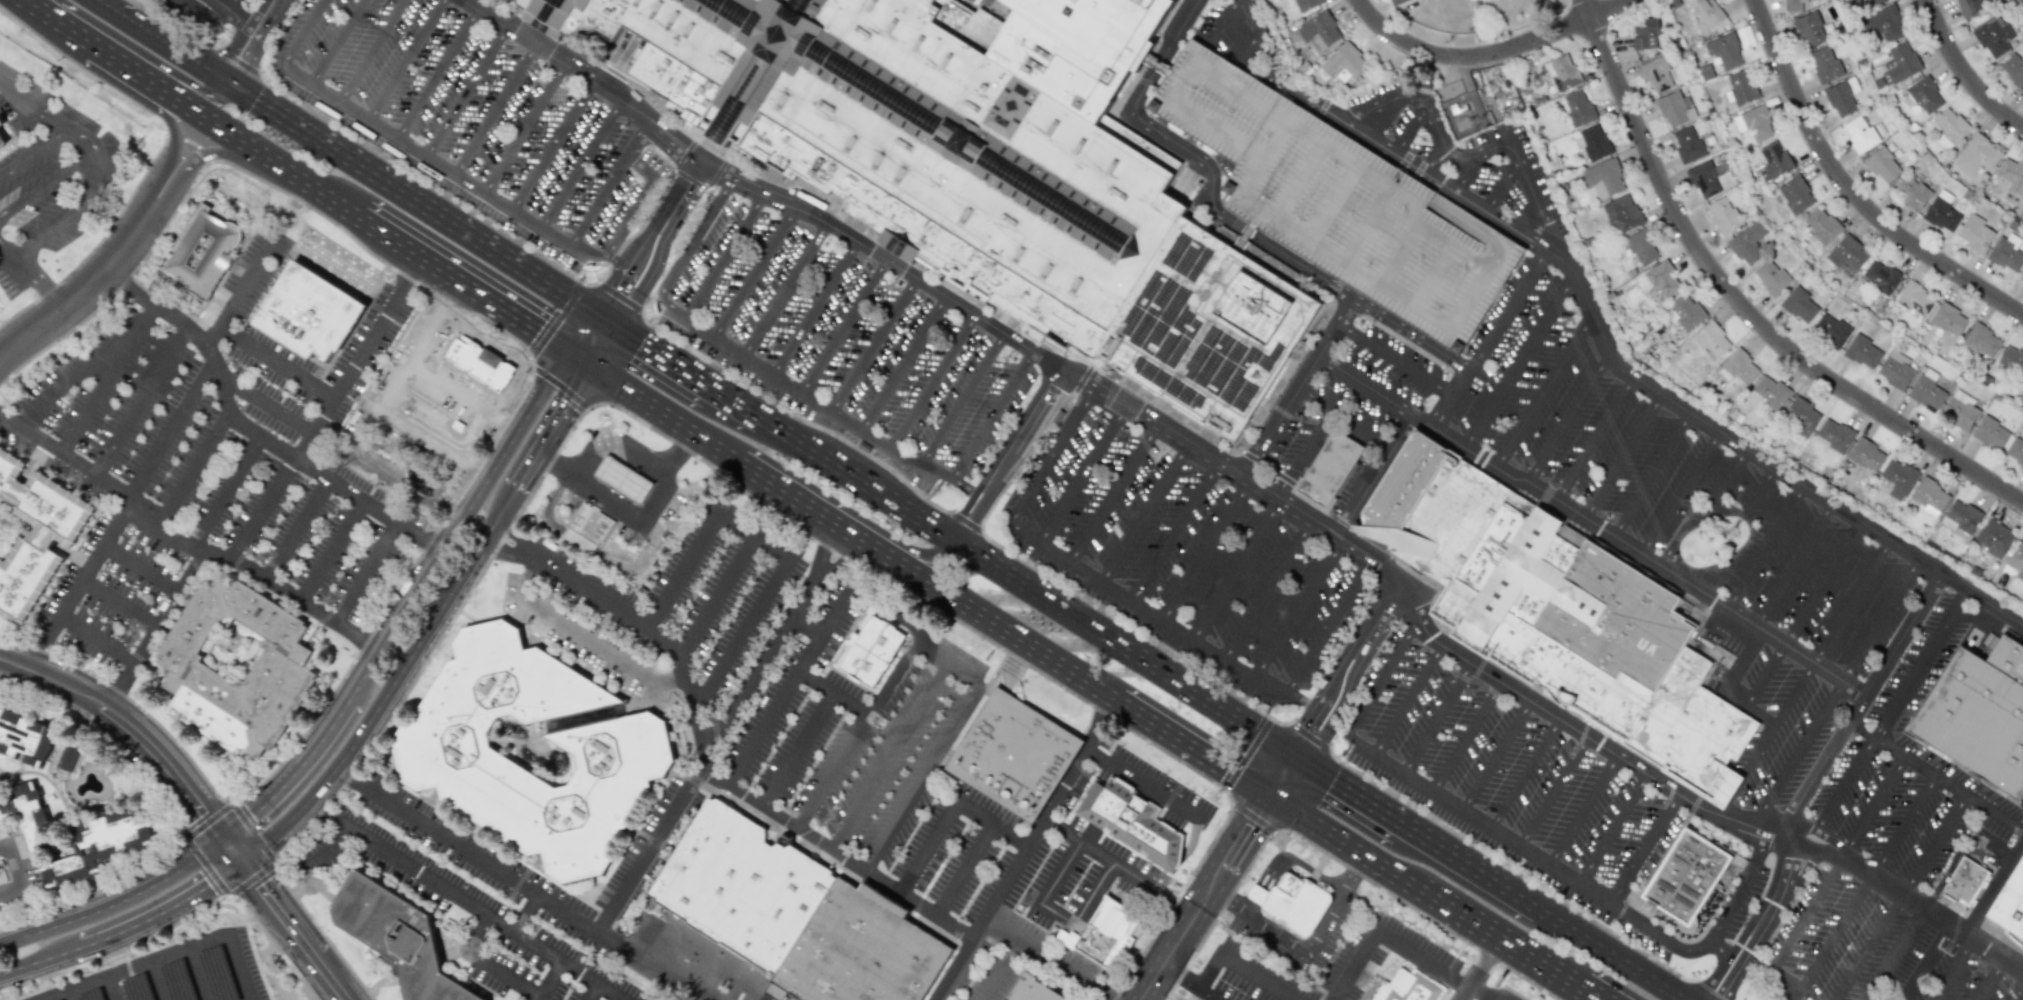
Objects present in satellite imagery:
building: (2016, 1)
building: (1394, 2)
parking lot: (251, 3)
building: (1867, 3)
road: (102, 4)
road: (233, 4)
building: (1306, 4)
building: (1795, 5)
road: (36, 6)
road: (39, 6)
building: (1524, 6)
building: (1969, 8)
road: (211, 14)
building: (1706, 14)
road: (240, 15)
road: (271, 15)
road: (1220, 23)
building: (1882, 24)
road: (69, 28)
building: (1810, 29)
building: (1319, 31)
road: (303, 33)
building: (1644, 33)
building: (1992, 36)
road: (338, 43)
road: (170, 45)
road: (1246, 47)
road: (371, 51)
building: (1724, 51)
building: (1699, 53)
road: (1491, 54)
road: (147, 56)
road: (247, 56)
road: (116, 59)
road: (406, 60)
building: (1344, 63)
building: (1899, 63)
building: (1825, 64)
building: (2013, 69)
road: (438, 72)
building: (1561, 72)
road: (1962, 73)
building: (1657, 74)
road: (586, 77)
power tower: (1545, 79)
traffic signals: (231, 82)
building: (1741, 86)
road: (466, 90)
building: (1921, 94)
building: (1841, 96)
building: (1578, 108)
building: (1675, 108)
road: (495, 109)
road: (30, 110)
parking lot: (478, 110)
road: (1157, 123)
building: (1754, 123)
road: (1214, 126)
road: (173, 127)
road: (524, 127)
building: (1949, 128)
road: (1409, 129)
building: (1859, 133)
road: (1273, 138)
building: (2, 141)
building: (1593, 142)
road: (190, 143)
building: (1687, 144)
road: (552, 145)
road: (249, 146)
road: (30, 153)
road: (229, 155)
road: (427, 155)
building: (1976, 155)
road: (1460, 156)
building: (1774, 158)
road: (1201, 160)
road: (1434, 161)
road: (1216, 162)
road: (579, 164)
building: (1882, 164)
building: (982, 166)
road: (1462, 174)
building: (2012, 174)
building: (1704, 178)
building: (1602, 179)
road: (1299, 181)
road: (49, 185)
road: (607, 185)
road: (1501, 187)
road: (1850, 189)
building: (1912, 192)
road: (1421, 193)
building: (1795, 194)
road: (88, 196)
building: (1338, 200)
parking garage: (1338, 200)
road: (419, 202)
road: (1333, 202)
road: (635, 210)
building: (1622, 212)
building: (1723, 214)
building: (1942, 215)
road: (1459, 218)
road: (1369, 224)
building: (1821, 225)
building: (1974, 232)
road: (1495, 241)
road: (96, 243)
building: (1747, 243)
road: (652, 245)
building: (1641, 246)
road: (1451, 247)
building: (201, 252)
road: (688, 252)
building: (2006, 252)
building: (1847, 253)
road: (609, 257)
road: (723, 257)
road: (883, 257)
road: (411, 272)
road: (753, 273)
road: (34, 275)
road: (116, 276)
road: (1433, 276)
building: (1880, 276)
building: (2022, 276)
building: (1771, 277)
building: (1663, 279)
road: (94, 283)
road: (783, 288)
road: (470, 290)
road: (236, 291)
road: (441, 292)
building: (1915, 299)
road: (1740, 304)
building: (1799, 305)
road: (814, 308)
road: (1506, 310)
building: (1685, 312)
building: (310, 313)
road: (556, 319)
building: (1949, 319)
traffic signals: (609, 322)
road: (843, 326)
building: (1830, 329)
road: (1411, 334)
road: (1603, 340)
building: (1710, 340)
parking lot: (845, 341)
building: (1981, 341)
road: (596, 342)
road: (873, 344)
road: (456, 347)
building: (1862, 352)
road: (659, 353)
building: (2011, 359)
road: (275, 360)
road: (1394, 361)
traffic signals: (584, 362)
road: (1518, 362)
road: (903, 364)
building: (1738, 367)
building: (1895, 369)
road: (79, 371)
road: (389, 373)
road: (498, 374)
road: (468, 378)
road: (930, 382)
road: (1298, 386)
road: (557, 389)
building: (1926, 390)
road: (1544, 392)
building: (1770, 392)
road: (88, 393)
road: (263, 397)
road: (962, 400)
road: (1450, 400)
road: (735, 401)
road: (138, 402)
building: (437, 403)
road: (816, 403)
building: (1959, 410)
road: (660, 411)
road: (992, 415)
building: (1801, 416)
road: (793, 417)
road: (1343, 417)
road: (1567, 419)
road: (503, 423)
road: (315, 425)
road: (475, 427)
road: (556, 429)
road: (246, 432)
building: (1990, 433)
building: (1834, 434)
road: (417, 436)
road: (607, 440)
road: (1593, 440)
road: (668, 448)
building: (2014, 451)
road: (1008, 452)
road: (1306, 454)
building: (1866, 454)
road: (1028, 457)
road: (1622, 457)
road: (705, 462)
road: (397, 470)
road: (1237, 470)
road: (476, 471)
building: (1327, 471)
road: (195, 472)
road: (1372, 474)
road: (660, 475)
road: (1082, 475)
road: (1652, 475)
road: (858, 477)
building: (622, 478)
building: (1897, 478)
road: (109, 486)
road: (965, 491)
road: (221, 492)
road: (1680, 493)
road: (1113, 495)
building: (1929, 497)
road: (797, 499)
road: (607, 502)
road: (455, 506)
road: (1728, 508)
road: (1143, 513)
building: (1960, 516)
road: (968, 520)
road: (457, 521)
road: (111, 523)
road: (1591, 524)
road: (1687, 528)
building: (586, 529)
road: (294, 532)
road: (1176, 532)
building: (32, 534)
road: (508, 535)
power tower: (1736, 535)
building: (1993, 537)
road: (431, 544)
road: (501, 546)
road: (688, 547)
road: (1766, 547)
road: (909, 550)
road: (1206, 550)
road: (332, 554)
road: (528, 554)
road: (785, 554)
parking lot: (1182, 559)
building: (2016, 559)
road: (223, 563)
road: (142, 564)
road: (1793, 564)
road: (1238, 571)
road: (368, 576)
road: (1098, 582)
road: (1823, 584)
road: (1269, 592)
road: (120, 601)
road: (1851, 602)
road: (1299, 610)
building: (1563, 614)
road: (988, 619)
road: (1880, 620)
road: (803, 624)
road: (1330, 628)
road: (1132, 630)
road: (770, 634)
road: (580, 639)
road: (368, 644)
road: (936, 647)
road: (1125, 648)
road: (413, 649)
building: (870, 650)
road: (1921, 664)
building: (236, 667)
road: (1349, 675)
road: (1763, 675)
road: (1379, 681)
road: (1726, 687)
road: (787, 688)
road: (118, 689)
road: (885, 693)
road: (1407, 700)
road: (1436, 719)
building: (1972, 723)
road: (1103, 724)
road: (128, 727)
road: (1465, 737)
building: (24, 738)
road: (1765, 738)
road: (794, 745)
road: (1194, 749)
building: (620, 751)
road: (893, 753)
road: (1245, 753)
building: (1014, 754)
road: (1797, 754)
road: (1496, 756)
building: (67, 758)
road: (928, 758)
traffic signals: (1295, 759)
road: (704, 760)
road: (829, 767)
road: (346, 768)
road: (288, 771)
road: (37, 773)
parking lot: (1495, 774)
road: (1525, 774)
parking lot: (1910, 774)
road: (1936, 775)
road: (1283, 778)
road: (1811, 780)
road: (1062, 784)
road: (1145, 784)
road: (1552, 791)
road: (1348, 792)
road: (1839, 797)
traffic signals: (1271, 798)
road: (1695, 804)
road: (1872, 808)
road: (952, 809)
road: (1584, 810)
road: (324, 811)
building: (1131, 821)
road: (1251, 821)
road: (1485, 825)
road: (1903, 827)
road: (1613, 828)
road: (272, 832)
building: (73, 835)
road: (181, 836)
traffic signals: (224, 837)
road: (1344, 843)
road: (463, 844)
road: (1934, 846)
road: (231, 847)
road: (1646, 848)
road: (839, 853)
road: (1026, 855)
road: (1451, 856)
road: (1332, 858)
road: (1954, 861)
road: (1296, 862)
road: (963, 868)
road: (18, 869)
building: (1965, 881)
road: (257, 882)
building: (1690, 883)
road: (1992, 884)
building: (742, 885)
road: (451, 888)
parking lot: (1696, 891)
road: (291, 894)
road: (1257, 895)
road: (1519, 898)
road: (1206, 899)
road: (117, 900)
road: (1181, 902)
building: (1293, 903)
building: (2010, 904)
road: (1250, 906)
road: (162, 907)
road: (1807, 914)
road: (1051, 915)
road: (178, 921)
building: (1100, 932)
road: (1390, 935)
building: (398, 936)
road: (1832, 937)
road: (1714, 938)
road: (1505, 944)
road: (1305, 945)
road: (669, 946)
parking lot: (1266, 946)
road: (1868, 948)
building: (860, 951)
road: (311, 954)
road: (1042, 954)
parking lot: (1362, 954)
parking lot: (1872, 954)
road: (1609, 955)
road: (1895, 955)
road: (39, 956)
road: (165, 956)
road: (1722, 957)
parking lot: (1463, 962)
road: (481, 963)
road: (1577, 966)
road: (1239, 967)
road: (1478, 969)
road: (1952, 969)
road: (1003, 971)
road: (199, 974)
road: (1994, 980)
road: (156, 981)
road: (543, 981)
road: (1786, 982)
road: (1190, 983)
building: (1405, 987)
power tower: (1927, 988)
road: (109, 989)
building: (1034, 989)
road: (1485, 993)
road: (591, 994)
road: (1105, 995)
road: (67, 996)
road: (1486, 997)
road: (2022, 999)

